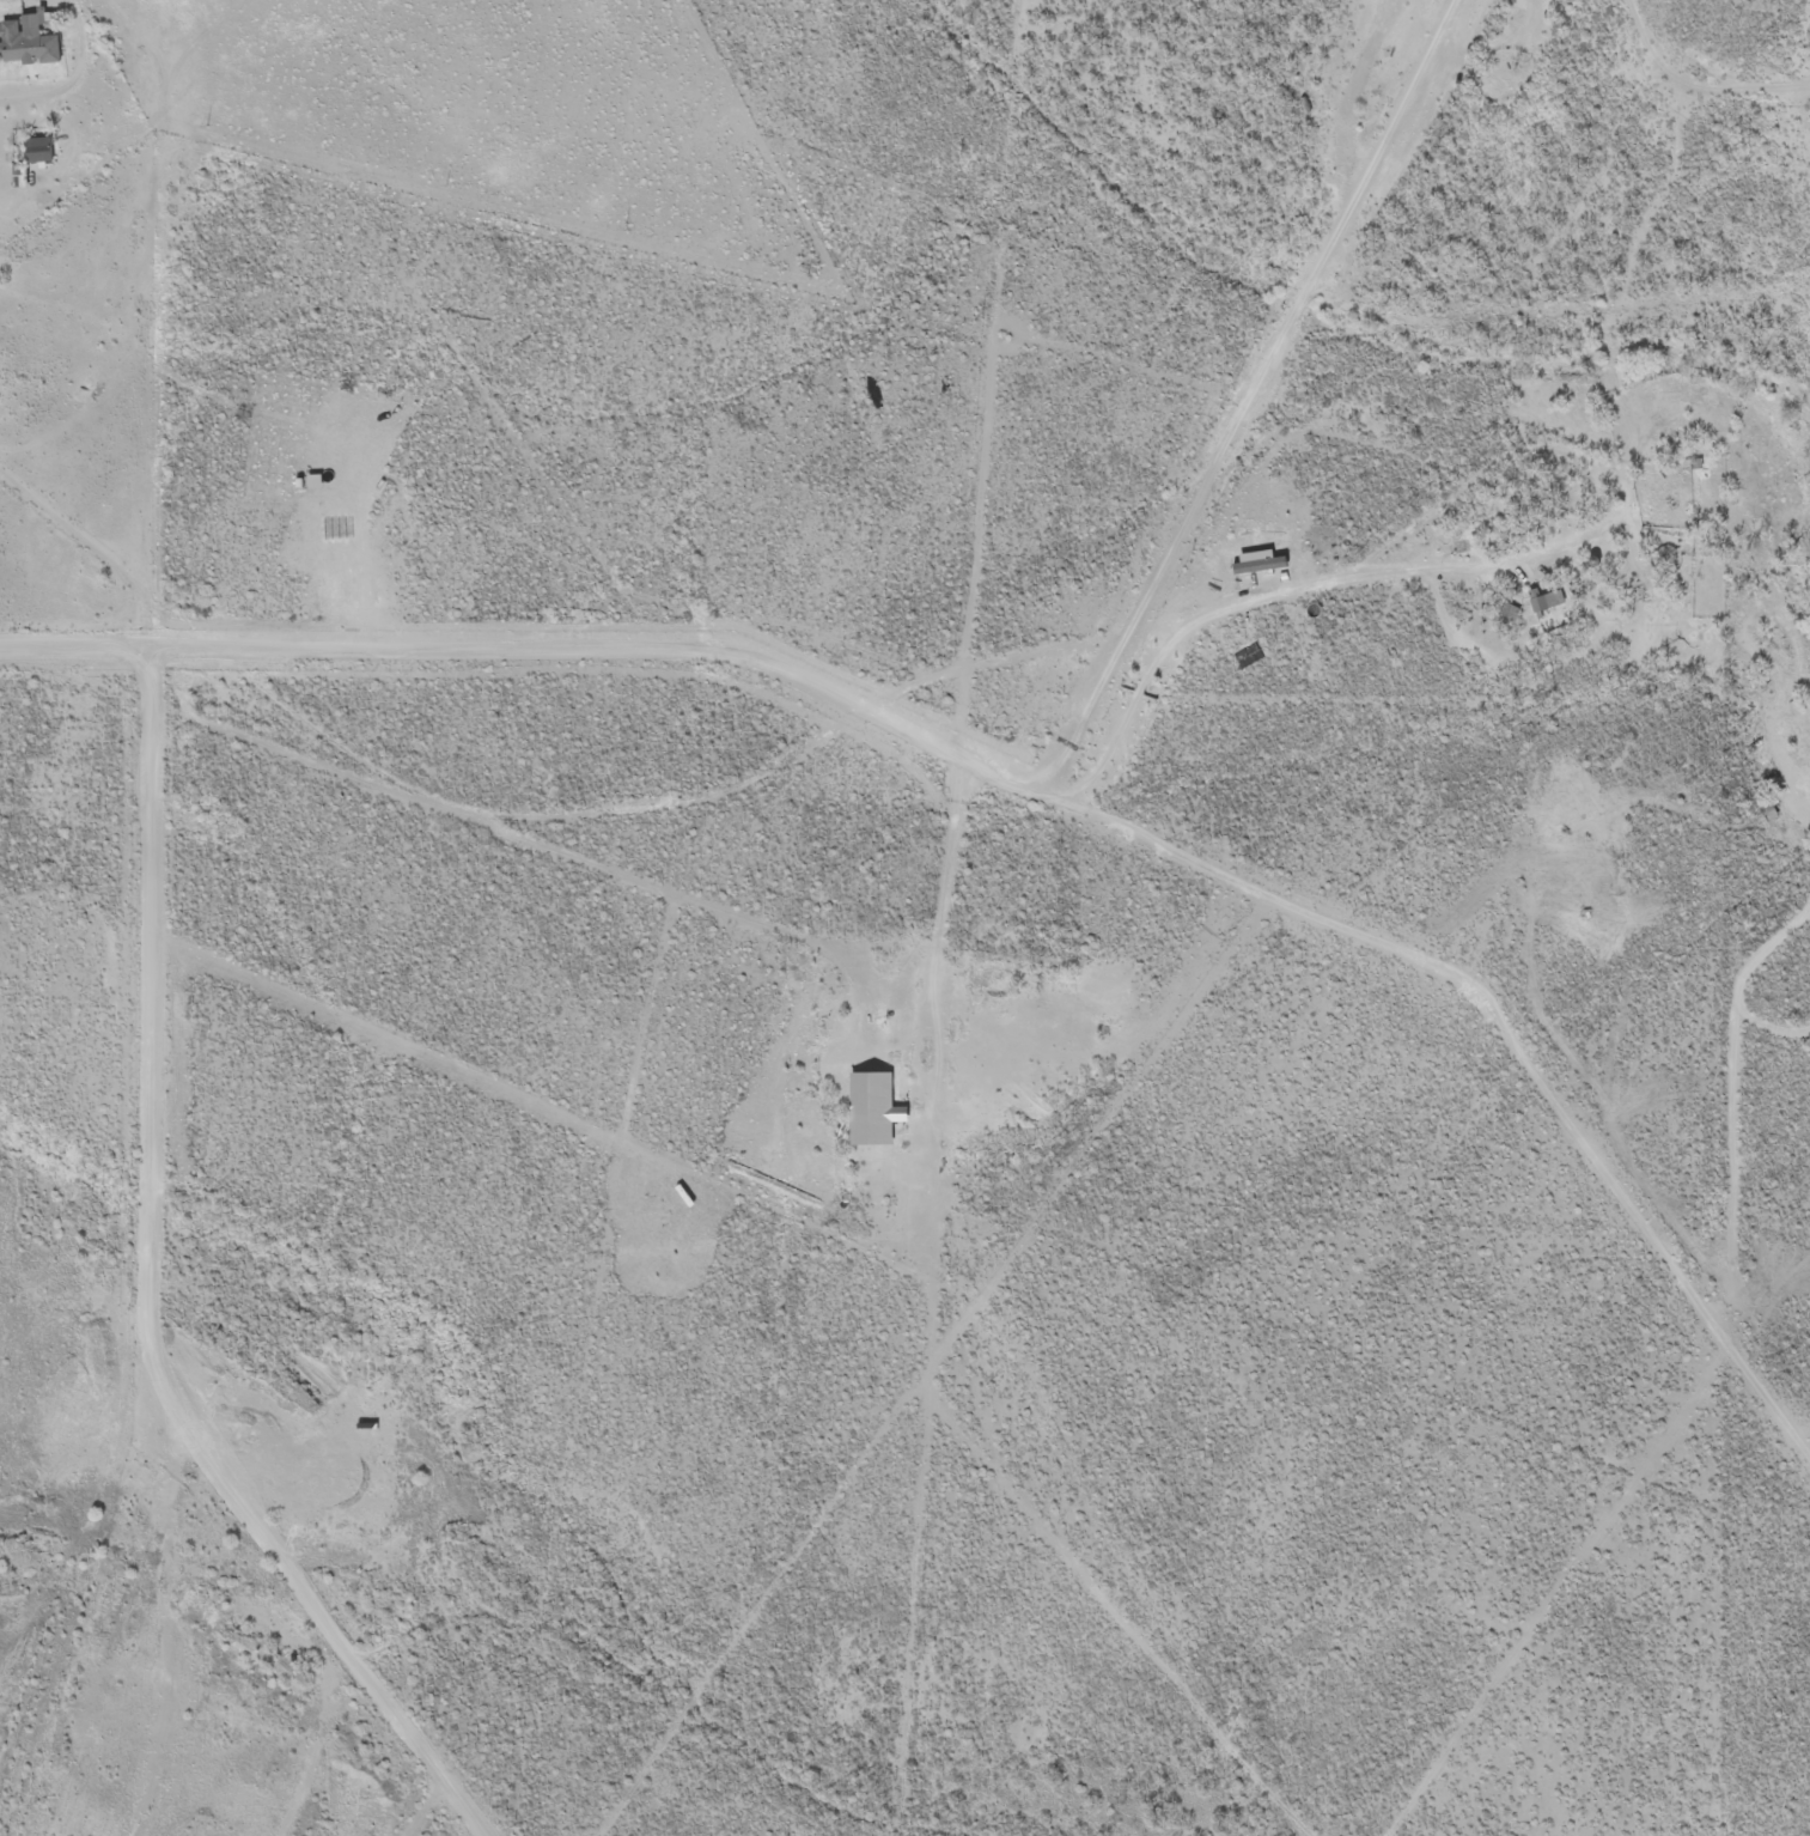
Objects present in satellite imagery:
road: (1651, 32)
building: (25, 42)
building: (32, 152)
building: (13, 178)
road: (1586, 182)
road: (134, 276)
road: (1615, 394)
building: (1540, 606)
building: (1500, 616)
building: (1243, 658)
road: (971, 764)
road: (785, 767)
building: (1762, 819)
building: (854, 1125)
road: (1735, 1354)

